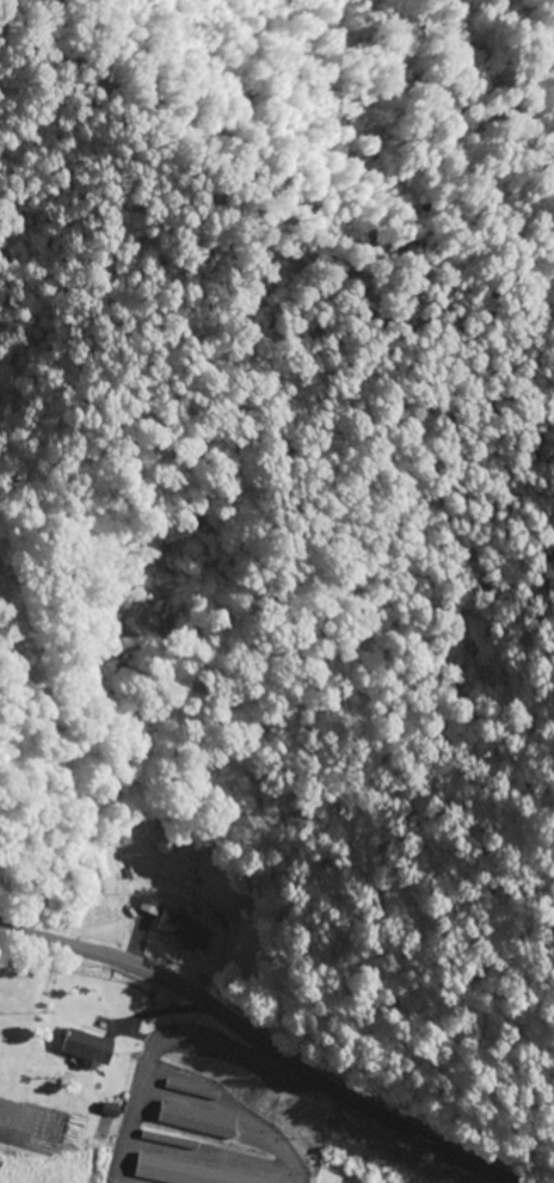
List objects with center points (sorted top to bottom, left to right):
building: (187, 931)
road: (254, 1046)
building: (91, 1048)
building: (201, 1121)
building: (190, 1173)

